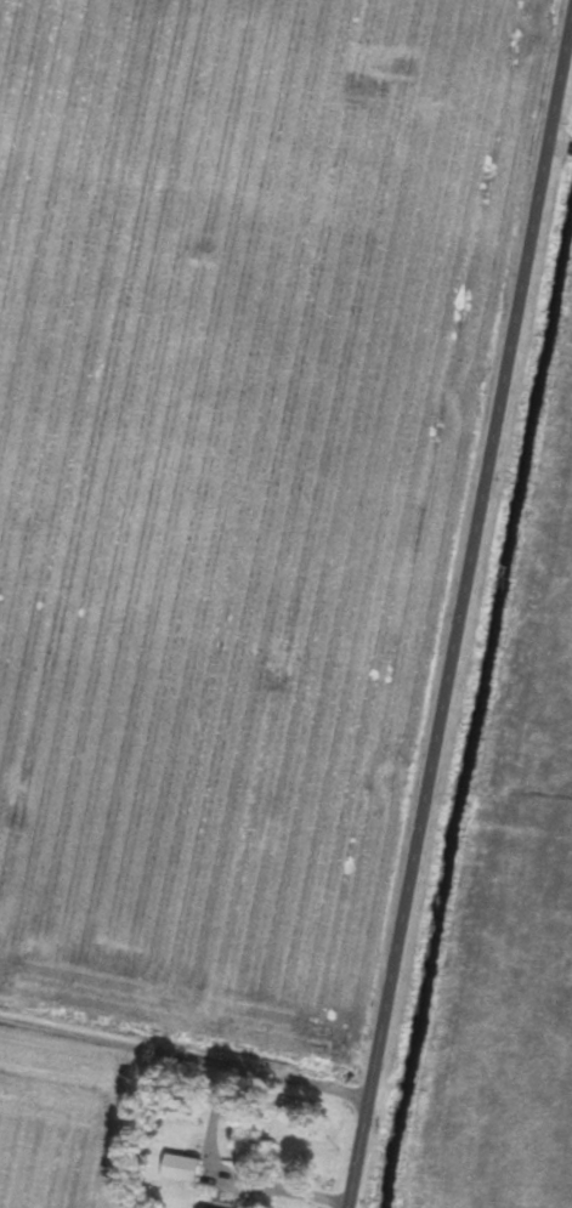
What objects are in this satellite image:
road: (460, 622)
road: (186, 1056)
building: (185, 1169)
road: (284, 1195)

